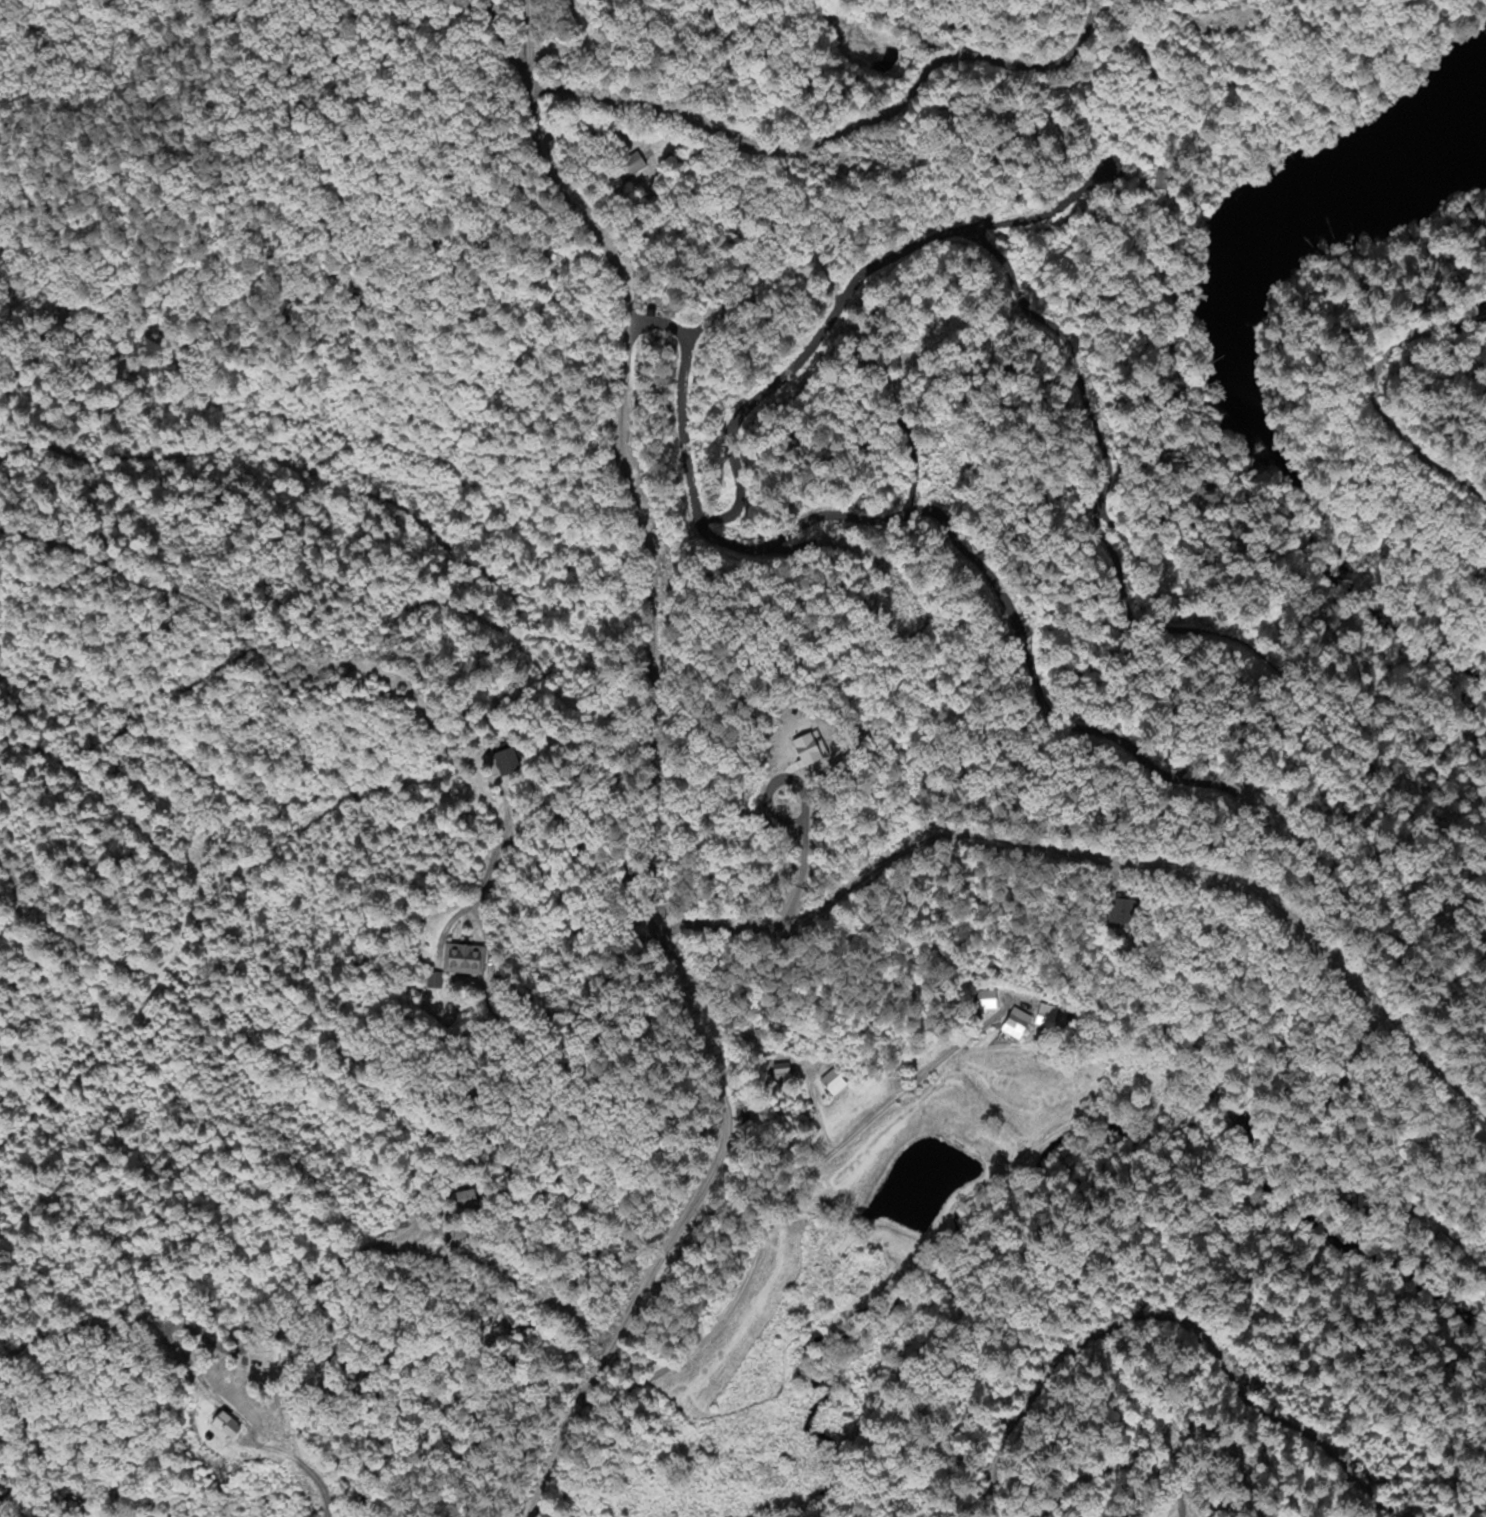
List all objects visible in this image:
road: (527, 44)
road: (793, 148)
building: (633, 165)
road: (572, 207)
road: (846, 293)
road: (1105, 481)
road: (901, 516)
road: (650, 626)
building: (799, 749)
building: (506, 762)
road: (1105, 860)
building: (1122, 911)
building: (462, 959)
building: (434, 980)
building: (1015, 1023)
road: (1140, 1030)
road: (782, 1191)
road: (676, 1230)
building: (222, 1427)
road: (1147, 1467)

